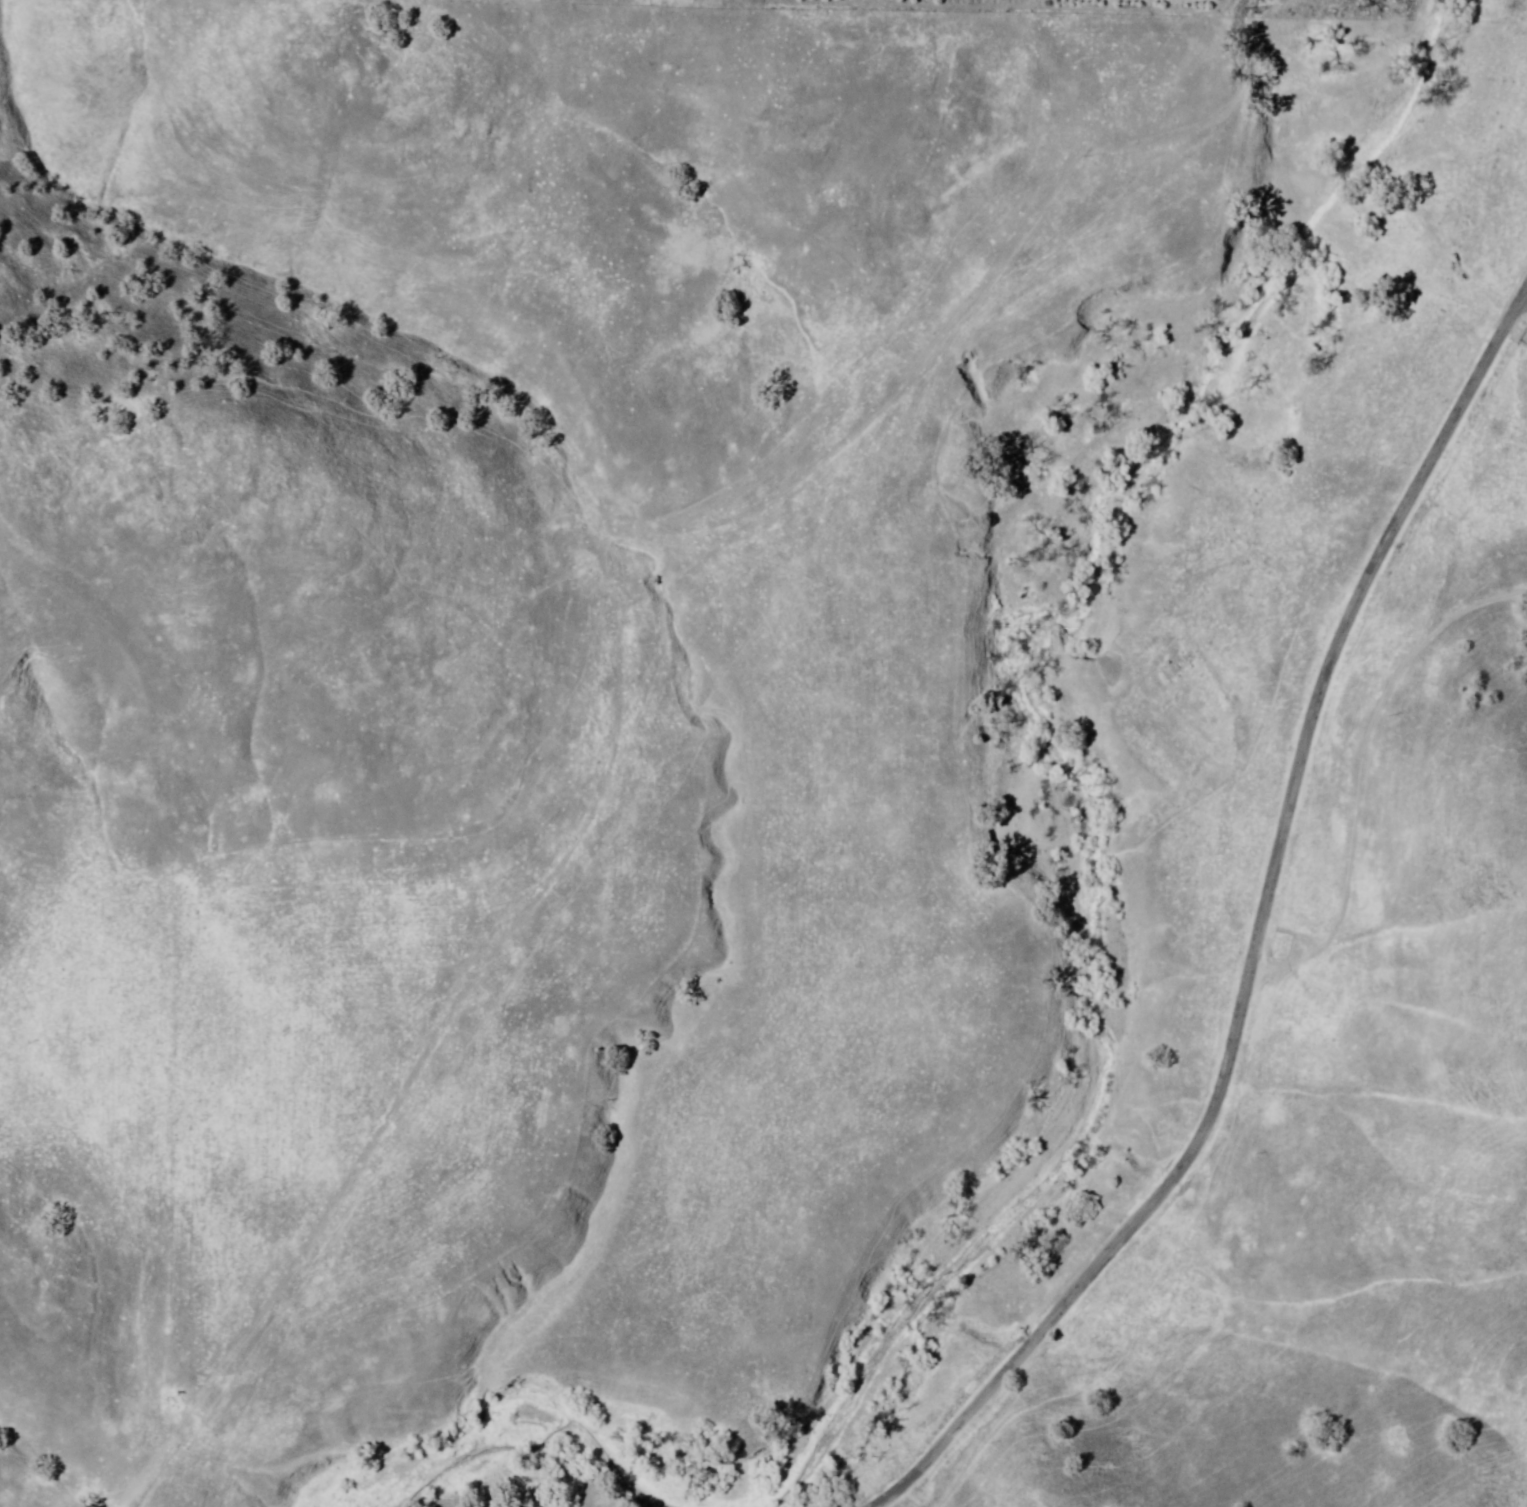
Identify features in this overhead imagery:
road: (1526, 294)
road: (1256, 938)

